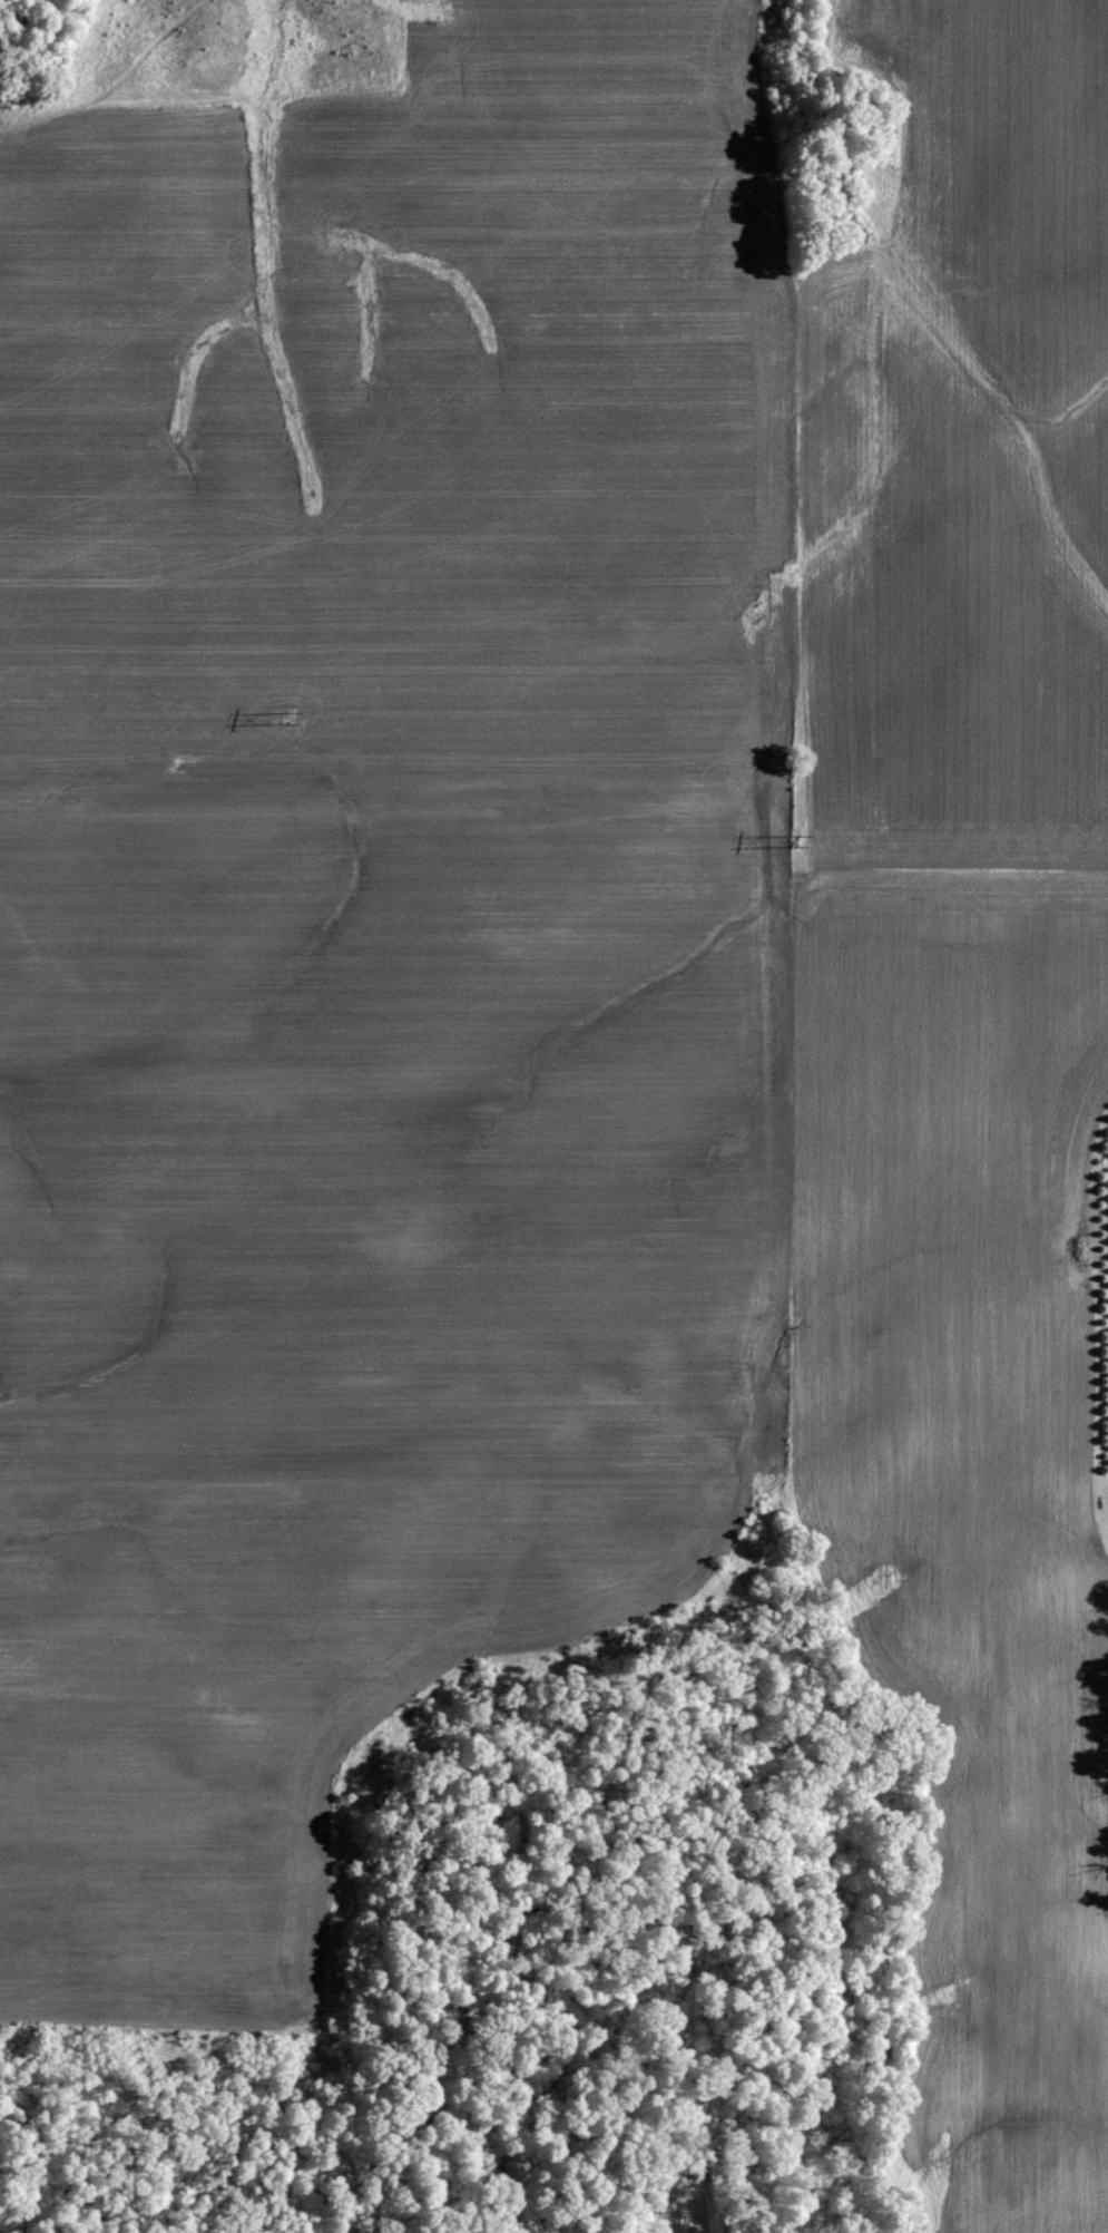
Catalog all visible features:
power tower: (288, 720)
power tower: (800, 845)

